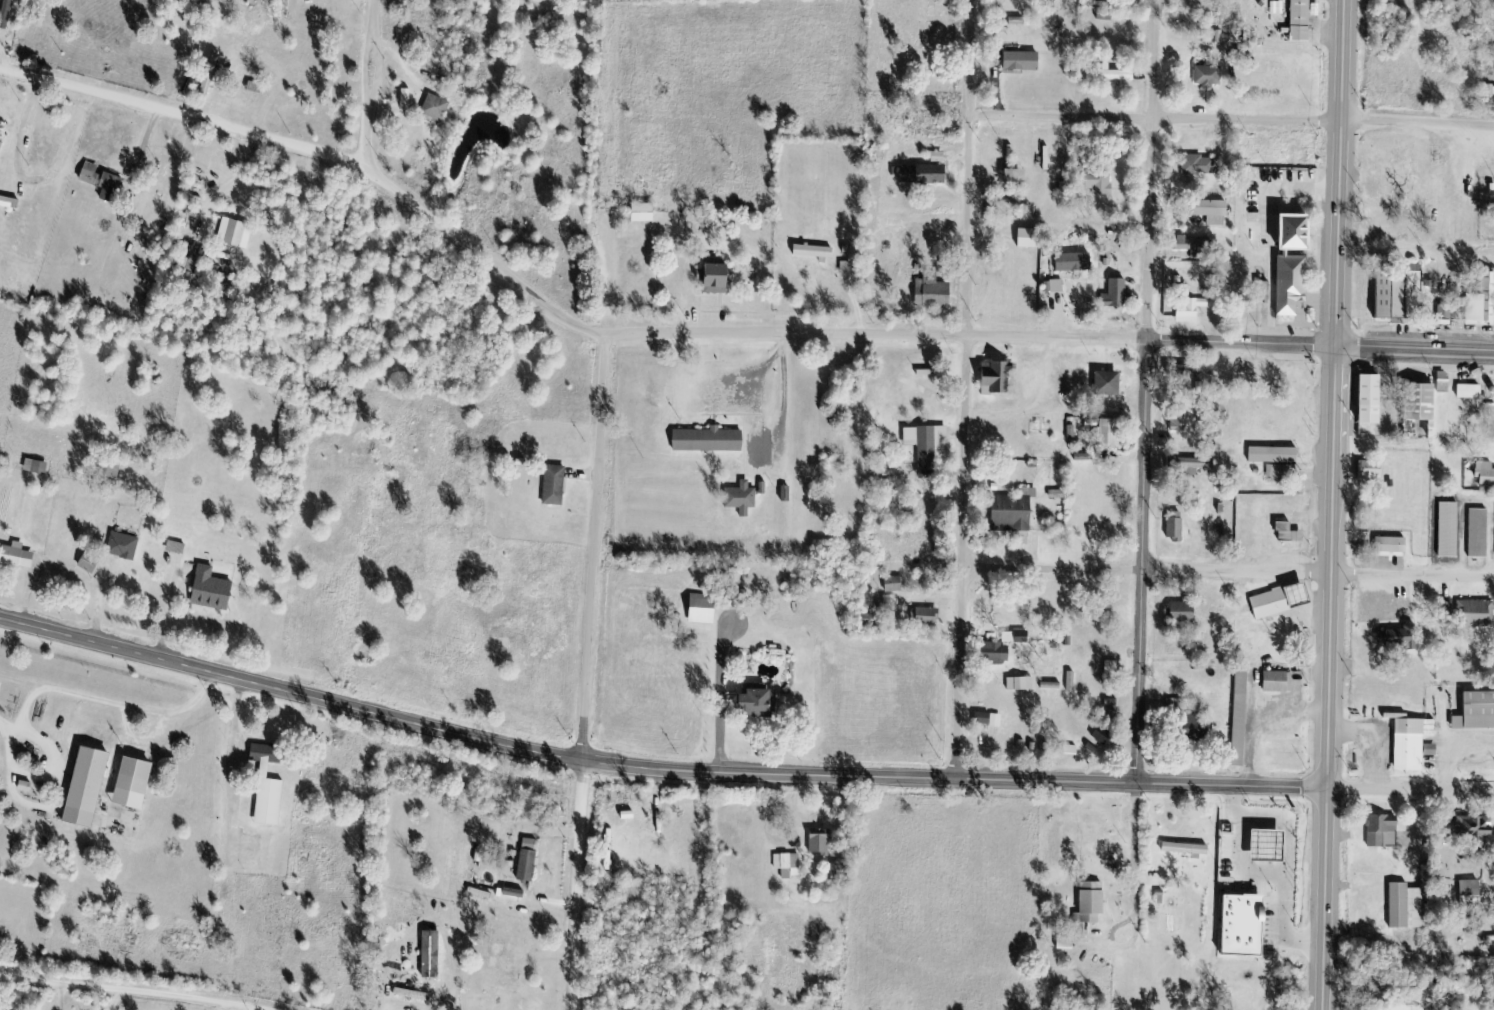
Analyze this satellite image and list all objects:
building: (8, 14)
building: (1303, 21)
building: (1024, 63)
building: (1111, 75)
building: (1209, 78)
road: (374, 84)
building: (437, 109)
road: (183, 115)
road: (1233, 121)
road: (146, 138)
building: (1277, 155)
building: (1198, 167)
road: (1152, 170)
road: (1341, 174)
road: (35, 182)
building: (103, 183)
building: (1100, 184)
building: (1214, 213)
building: (646, 215)
building: (236, 234)
building: (1303, 234)
building: (1034, 240)
building: (816, 253)
building: (1074, 265)
building: (720, 280)
building: (1294, 288)
building: (936, 295)
building: (1404, 295)
building: (1118, 296)
building: (1483, 304)
building: (1192, 312)
road: (730, 334)
road: (1242, 344)
road: (1414, 349)
building: (996, 379)
building: (1109, 384)
road: (966, 389)
building: (1470, 392)
building: (1374, 398)
building: (1429, 399)
building: (1181, 422)
building: (1112, 434)
building: (710, 441)
building: (927, 445)
building: (1278, 462)
building: (1192, 466)
building: (38, 467)
building: (1485, 475)
building: (556, 486)
building: (744, 498)
building: (1017, 512)
building: (1176, 530)
building: (1449, 531)
building: (1480, 534)
building: (125, 546)
building: (1392, 546)
building: (20, 557)
road: (1146, 561)
building: (92, 563)
road: (1331, 567)
road: (1229, 572)
building: (895, 585)
building: (214, 590)
building: (739, 599)
building: (1274, 604)
building: (706, 611)
building: (1185, 612)
building: (1477, 614)
building: (925, 617)
building: (1404, 633)
building: (1006, 648)
road: (588, 671)
building: (1280, 683)
building: (1022, 684)
road: (719, 694)
building: (763, 702)
building: (1476, 712)
building: (988, 720)
building: (1414, 743)
road: (654, 768)
building: (137, 783)
building: (271, 784)
building: (92, 788)
road: (1410, 788)
building: (1478, 828)
building: (1383, 833)
building: (820, 843)
building: (1190, 850)
building: (530, 861)
building: (789, 866)
road: (1272, 869)
building: (1470, 893)
road: (1324, 898)
building: (1094, 904)
building: (1407, 908)
park: (24, 921)
building: (1248, 926)
building: (1068, 945)
road: (133, 990)
building: (415, 996)

